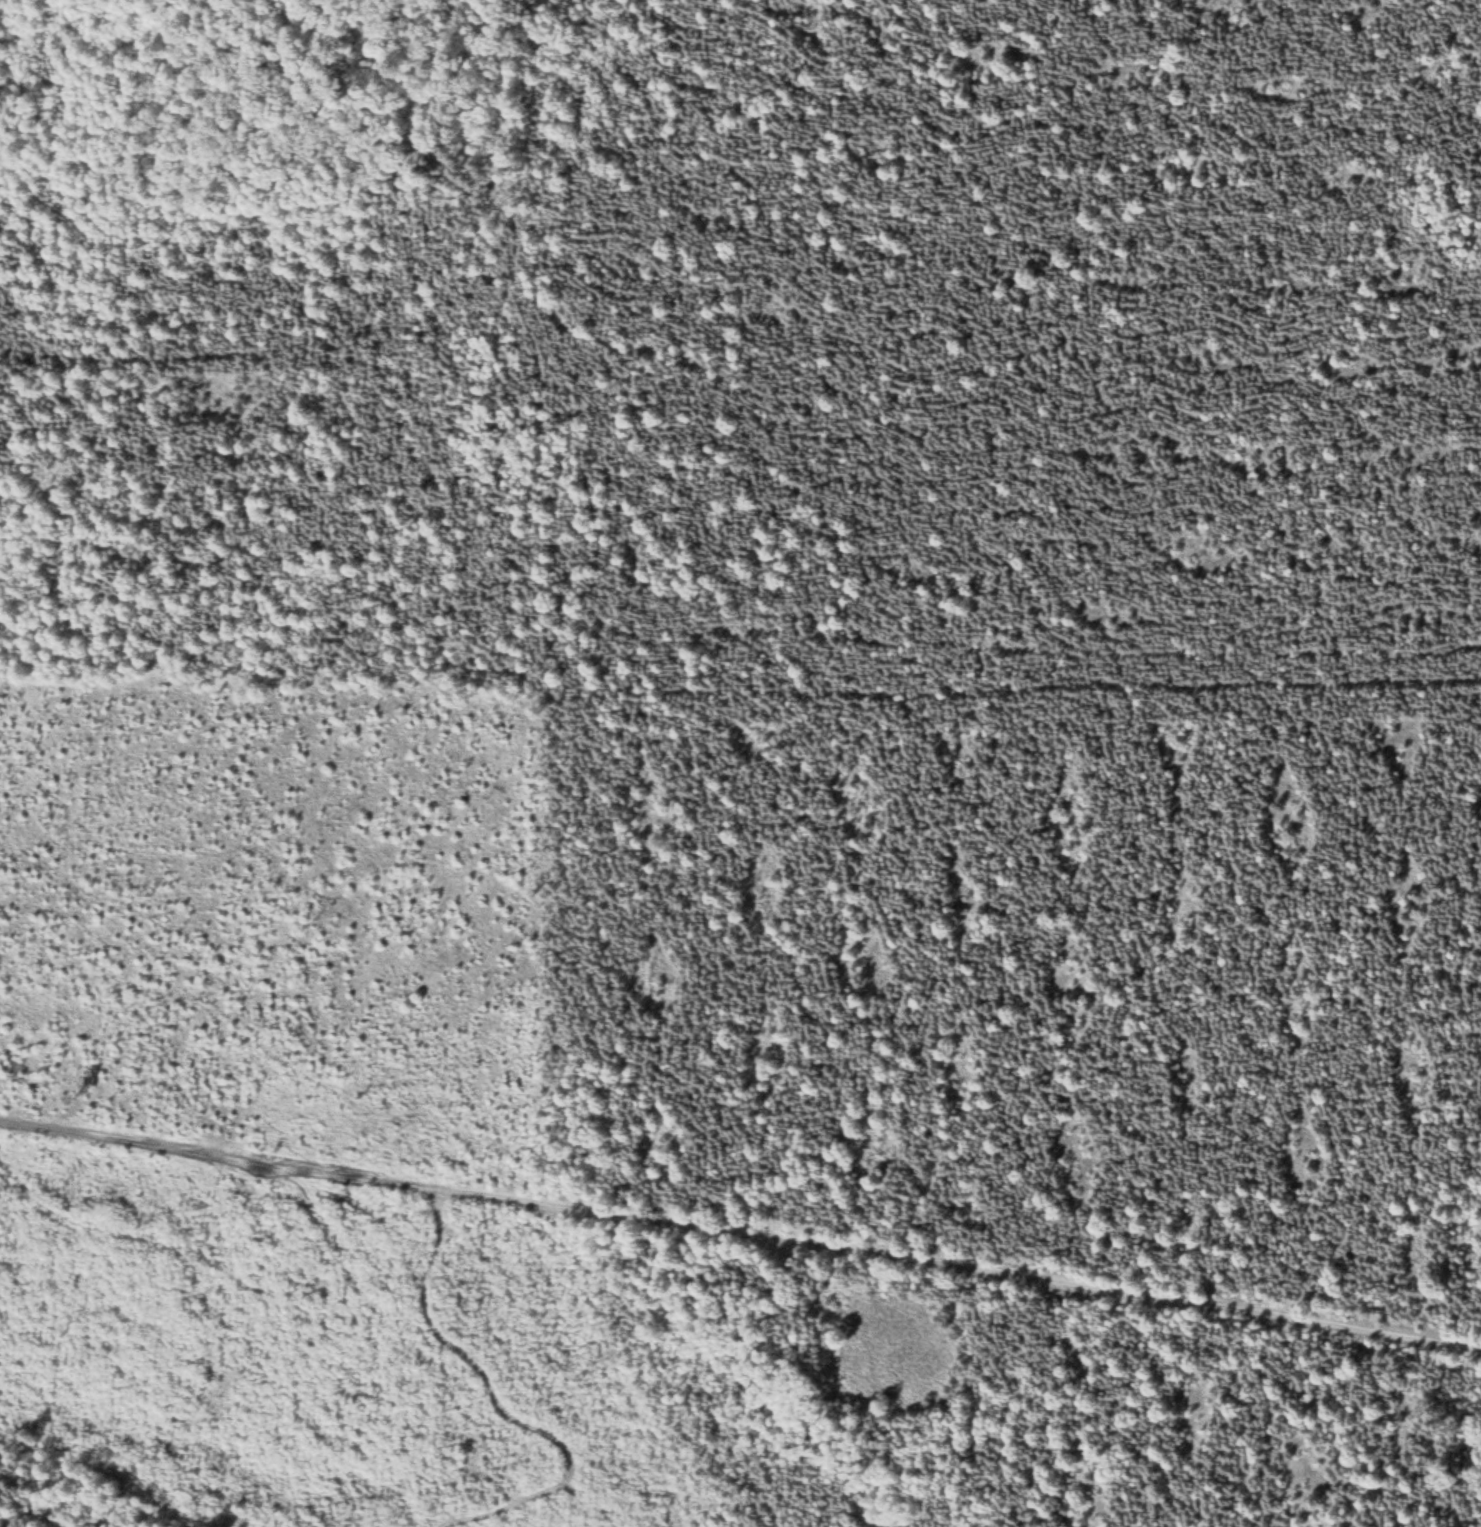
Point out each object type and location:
road: (740, 1229)

